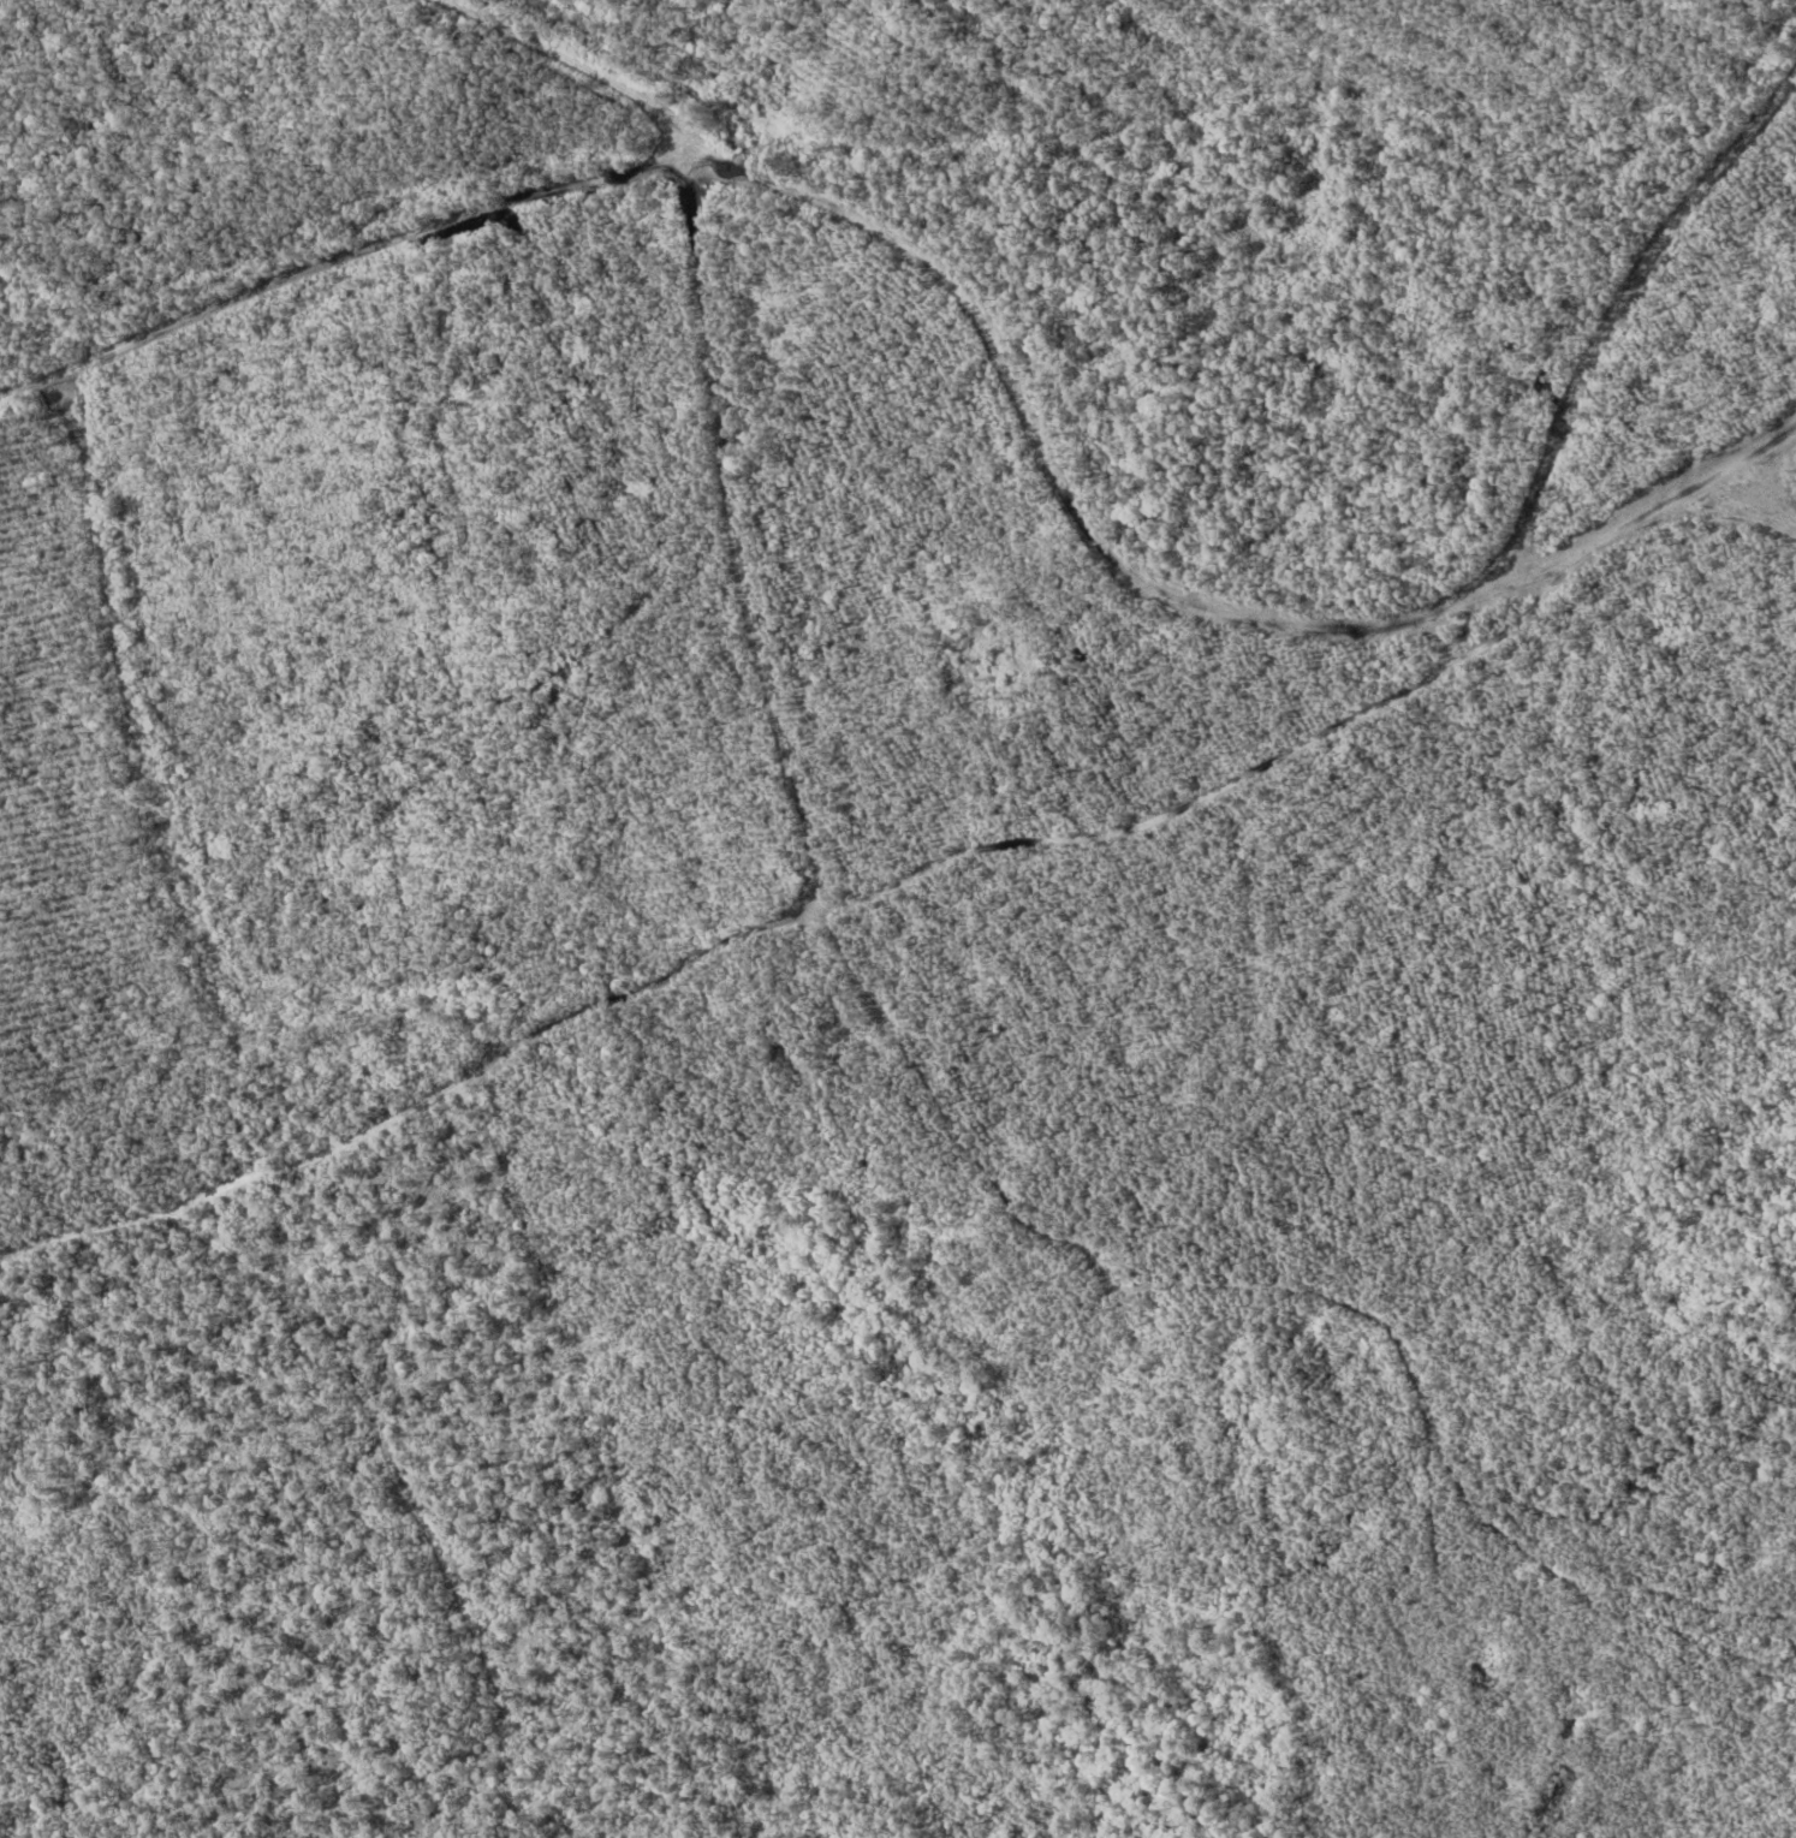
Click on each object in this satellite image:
road: (572, 66)
road: (1039, 417)
road: (1720, 480)
road: (893, 881)
road: (973, 1150)
road: (380, 1402)
road: (488, 1620)

